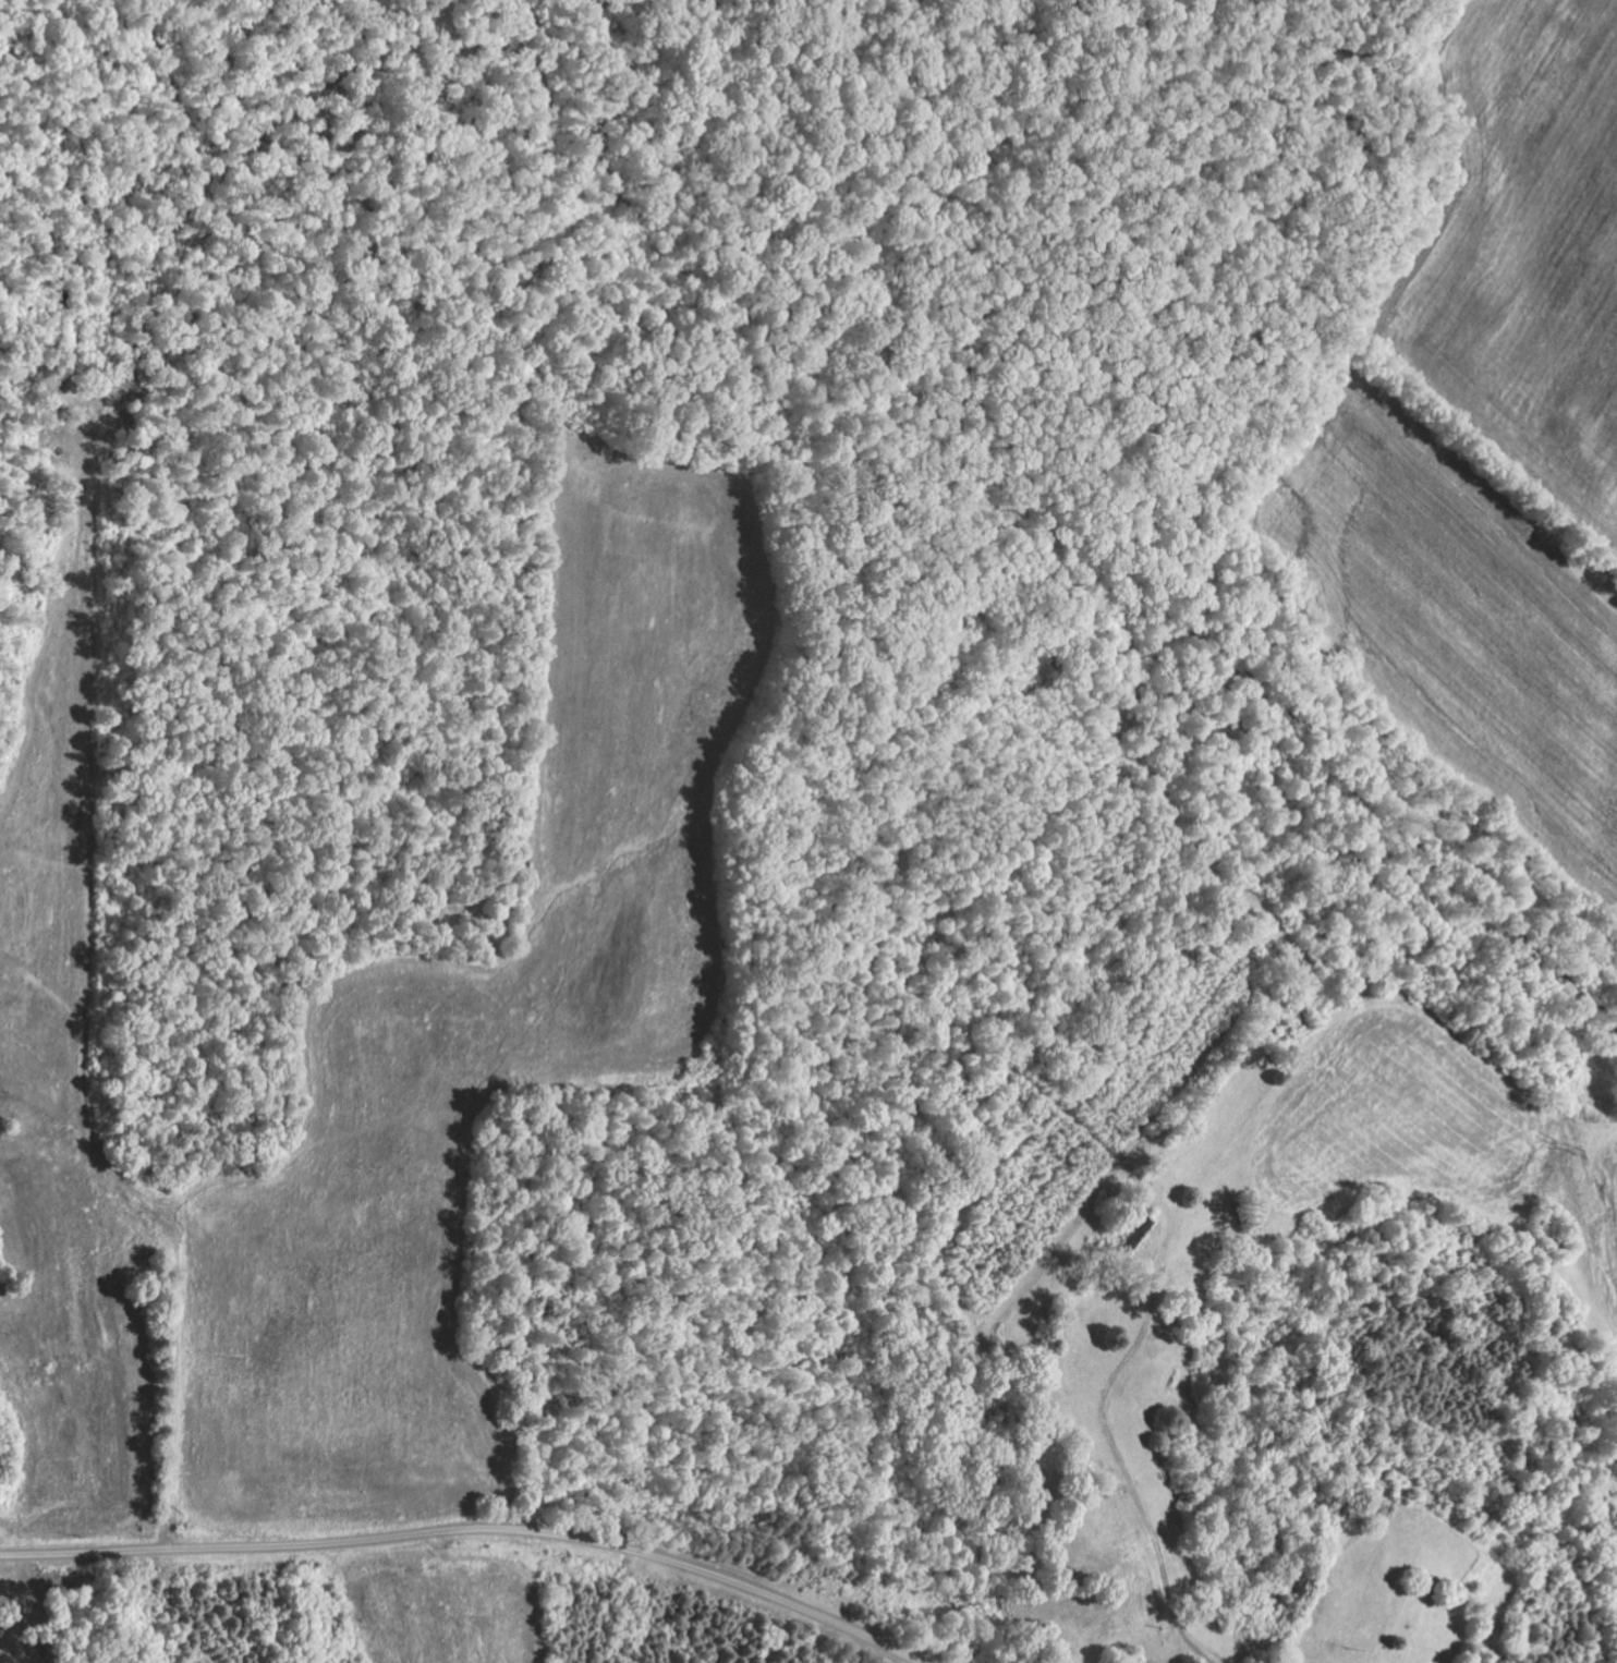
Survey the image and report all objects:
road: (472, 1530)

